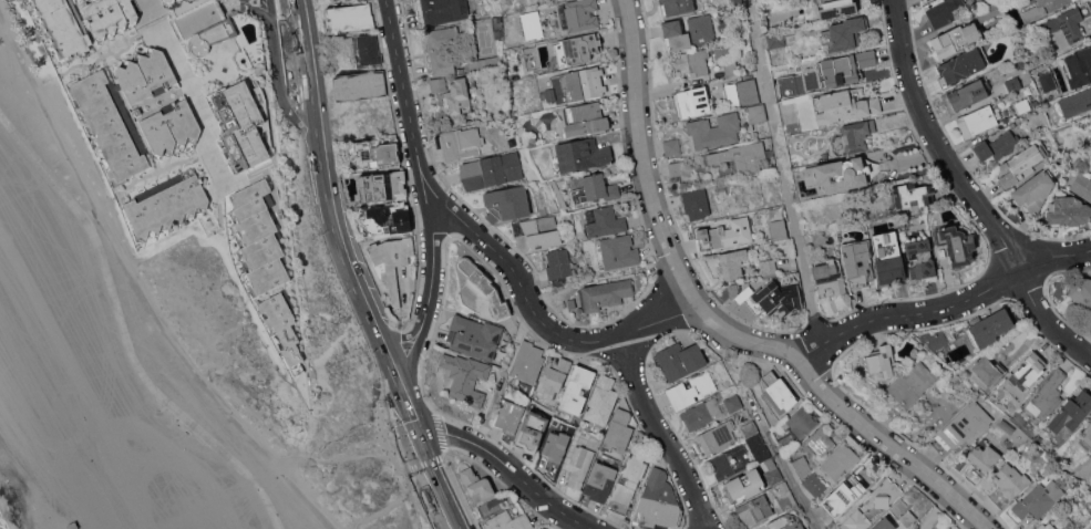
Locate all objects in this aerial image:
building: (179, 0)
road: (236, 0)
building: (338, 0)
building: (169, 1)
building: (737, 1)
road: (248, 4)
building: (677, 6)
building: (836, 7)
building: (1042, 8)
building: (441, 10)
building: (944, 10)
building: (989, 11)
building: (579, 14)
building: (111, 15)
building: (197, 17)
building: (349, 17)
building: (723, 23)
building: (1068, 23)
building: (532, 24)
building: (62, 27)
building: (689, 32)
building: (844, 33)
building: (956, 38)
park: (485, 39)
building: (775, 40)
building: (576, 49)
building: (368, 50)
building: (723, 50)
building: (435, 52)
building: (1082, 61)
building: (485, 62)
building: (691, 62)
building: (961, 64)
building: (843, 65)
building: (731, 68)
road: (310, 69)
building: (146, 74)
building: (471, 74)
road: (278, 76)
road: (187, 79)
building: (1048, 80)
building: (584, 82)
building: (1012, 83)
building: (360, 84)
building: (439, 84)
building: (786, 85)
building: (236, 89)
building: (742, 92)
building: (548, 93)
building: (966, 94)
building: (459, 96)
building: (691, 101)
building: (1078, 101)
building: (843, 105)
building: (1022, 105)
building: (137, 111)
building: (758, 112)
building: (585, 118)
building: (977, 120)
building: (110, 125)
building: (172, 126)
building: (714, 129)
building: (853, 136)
building: (462, 143)
building: (997, 145)
building: (672, 146)
building: (374, 152)
building: (580, 155)
building: (741, 156)
building: (1090, 159)
road: (419, 160)
building: (1021, 162)
building: (677, 167)
building: (1090, 168)
building: (492, 170)
road: (783, 170)
building: (843, 173)
building: (383, 185)
building: (1082, 185)
building: (720, 186)
building: (596, 188)
road: (970, 190)
building: (1032, 190)
building: (557, 193)
building: (912, 194)
building: (507, 201)
building: (696, 203)
building: (166, 204)
building: (1068, 211)
building: (280, 212)
road: (93, 217)
building: (385, 220)
building: (605, 221)
building: (776, 221)
building: (900, 221)
building: (538, 231)
building: (725, 234)
building: (257, 237)
road: (341, 238)
building: (819, 238)
building: (956, 242)
building: (617, 251)
building: (887, 256)
building: (920, 257)
building: (391, 261)
building: (857, 262)
building: (558, 263)
building: (732, 263)
building: (768, 267)
building: (830, 276)
road: (522, 283)
road: (137, 287)
building: (484, 287)
building: (1082, 292)
building: (605, 293)
building: (771, 298)
building: (572, 302)
road: (945, 304)
road: (658, 319)
road: (719, 323)
building: (281, 325)
building: (988, 328)
road: (124, 332)
road: (403, 335)
building: (474, 335)
building: (894, 335)
building: (933, 336)
road: (413, 356)
building: (678, 361)
building: (882, 361)
road: (393, 362)
building: (527, 362)
building: (939, 366)
building: (1031, 367)
building: (988, 369)
building: (467, 376)
building: (554, 376)
building: (912, 383)
building: (577, 388)
building: (691, 390)
traffic signals: (406, 391)
building: (779, 391)
building: (1048, 394)
building: (601, 402)
building: (733, 402)
building: (1070, 412)
road: (414, 413)
building: (701, 413)
building: (510, 415)
building: (801, 422)
building: (1007, 425)
building: (963, 427)
building: (533, 429)
building: (750, 429)
building: (618, 431)
road: (662, 432)
building: (1087, 433)
traffic signals: (422, 436)
building: (719, 436)
building: (821, 440)
building: (595, 442)
building: (557, 445)
building: (759, 447)
road: (445, 452)
building: (840, 460)
building: (981, 460)
building: (730, 461)
building: (579, 465)
building: (801, 465)
road: (512, 469)
building: (773, 471)
road: (791, 479)
building: (600, 480)
road: (440, 483)
building: (627, 483)
building: (1008, 483)
building: (743, 484)
building: (814, 484)
building: (477, 485)
building: (844, 492)
building: (1038, 499)
building: (883, 500)
building: (657, 502)
road: (413, 504)
building: (765, 506)
road: (385, 507)
building: (904, 512)
building: (510, 520)
building: (786, 521)
building: (884, 525)
building: (1047, 526)
building: (545, 528)

